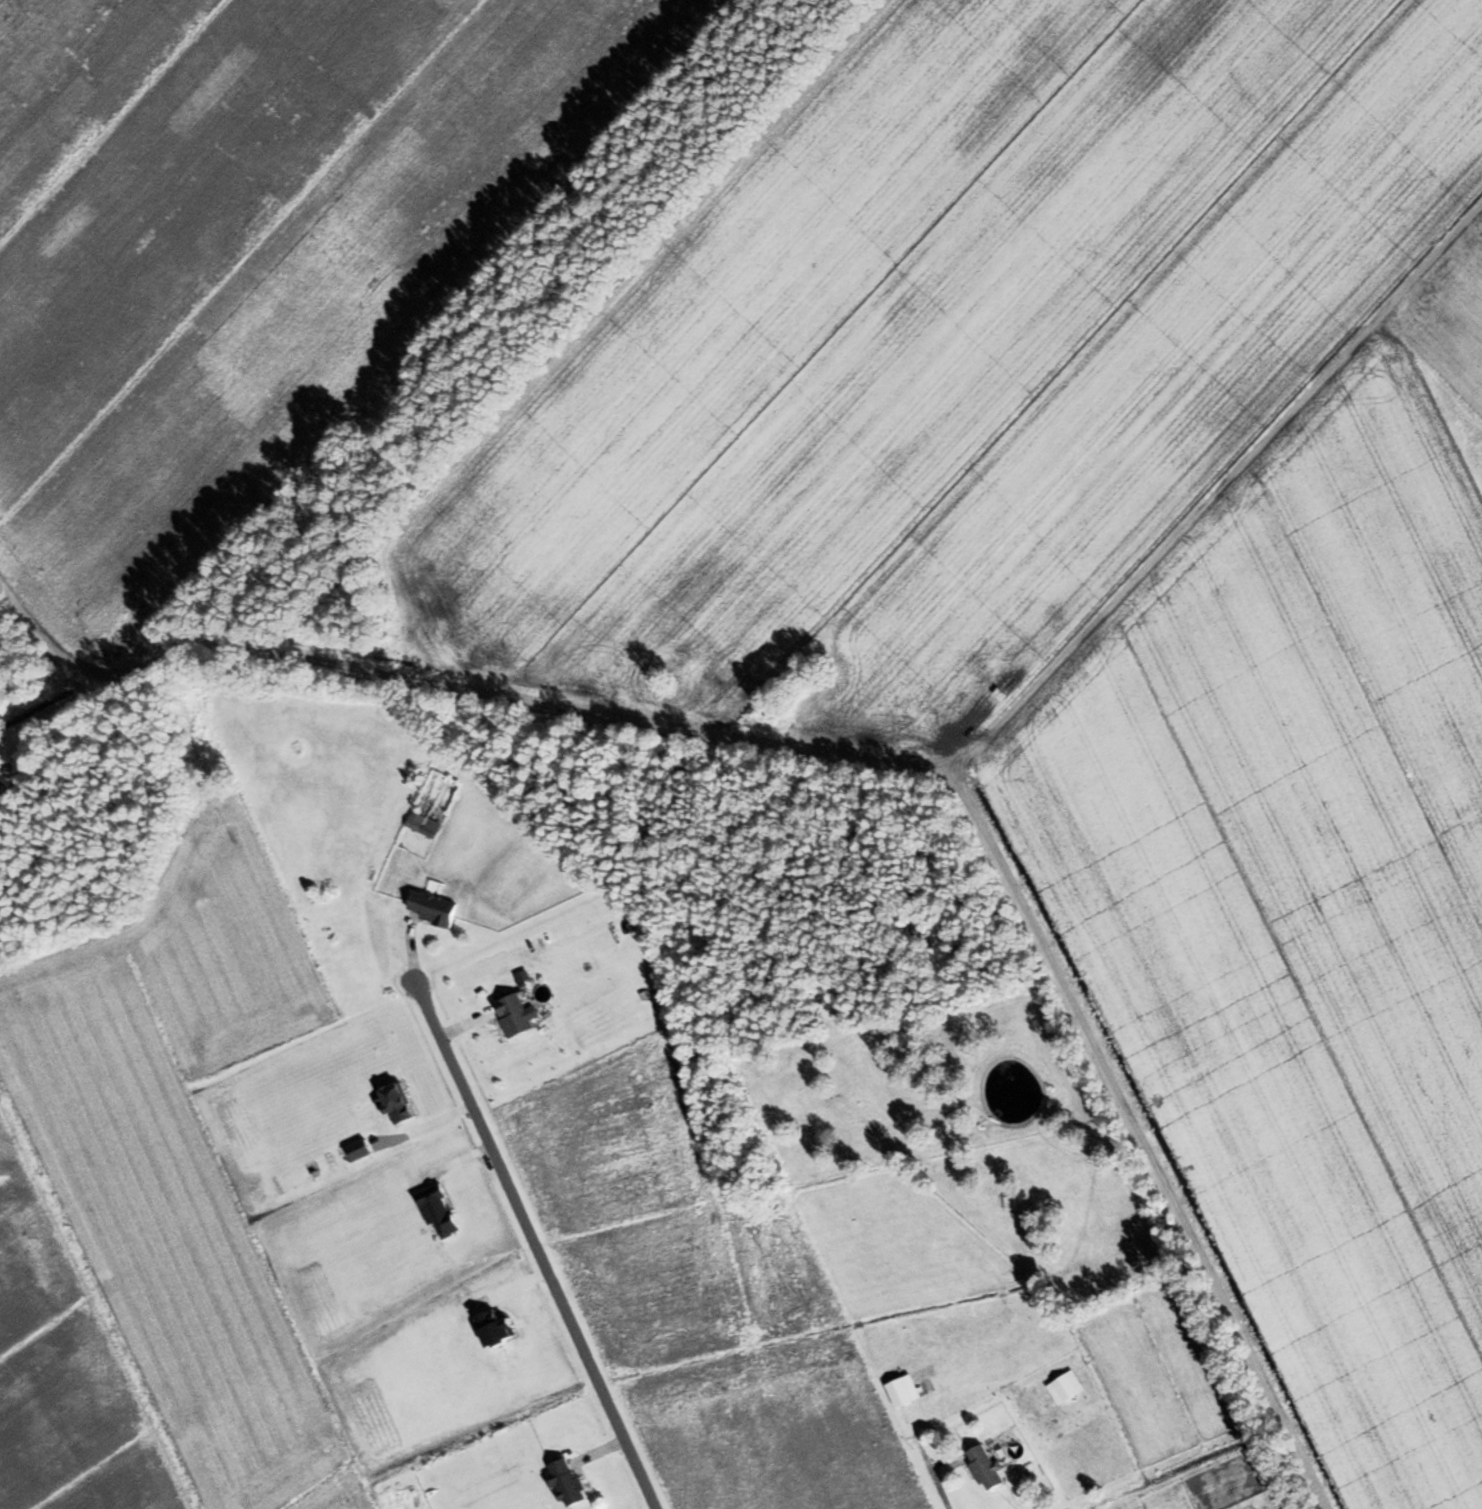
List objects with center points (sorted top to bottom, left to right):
road: (857, 764)
building: (415, 820)
building: (432, 907)
building: (512, 1014)
road: (424, 1123)
building: (1009, 1201)
road: (536, 1245)
building: (1064, 1386)
building: (902, 1389)
building: (984, 1465)
building: (565, 1479)
road: (938, 1491)

